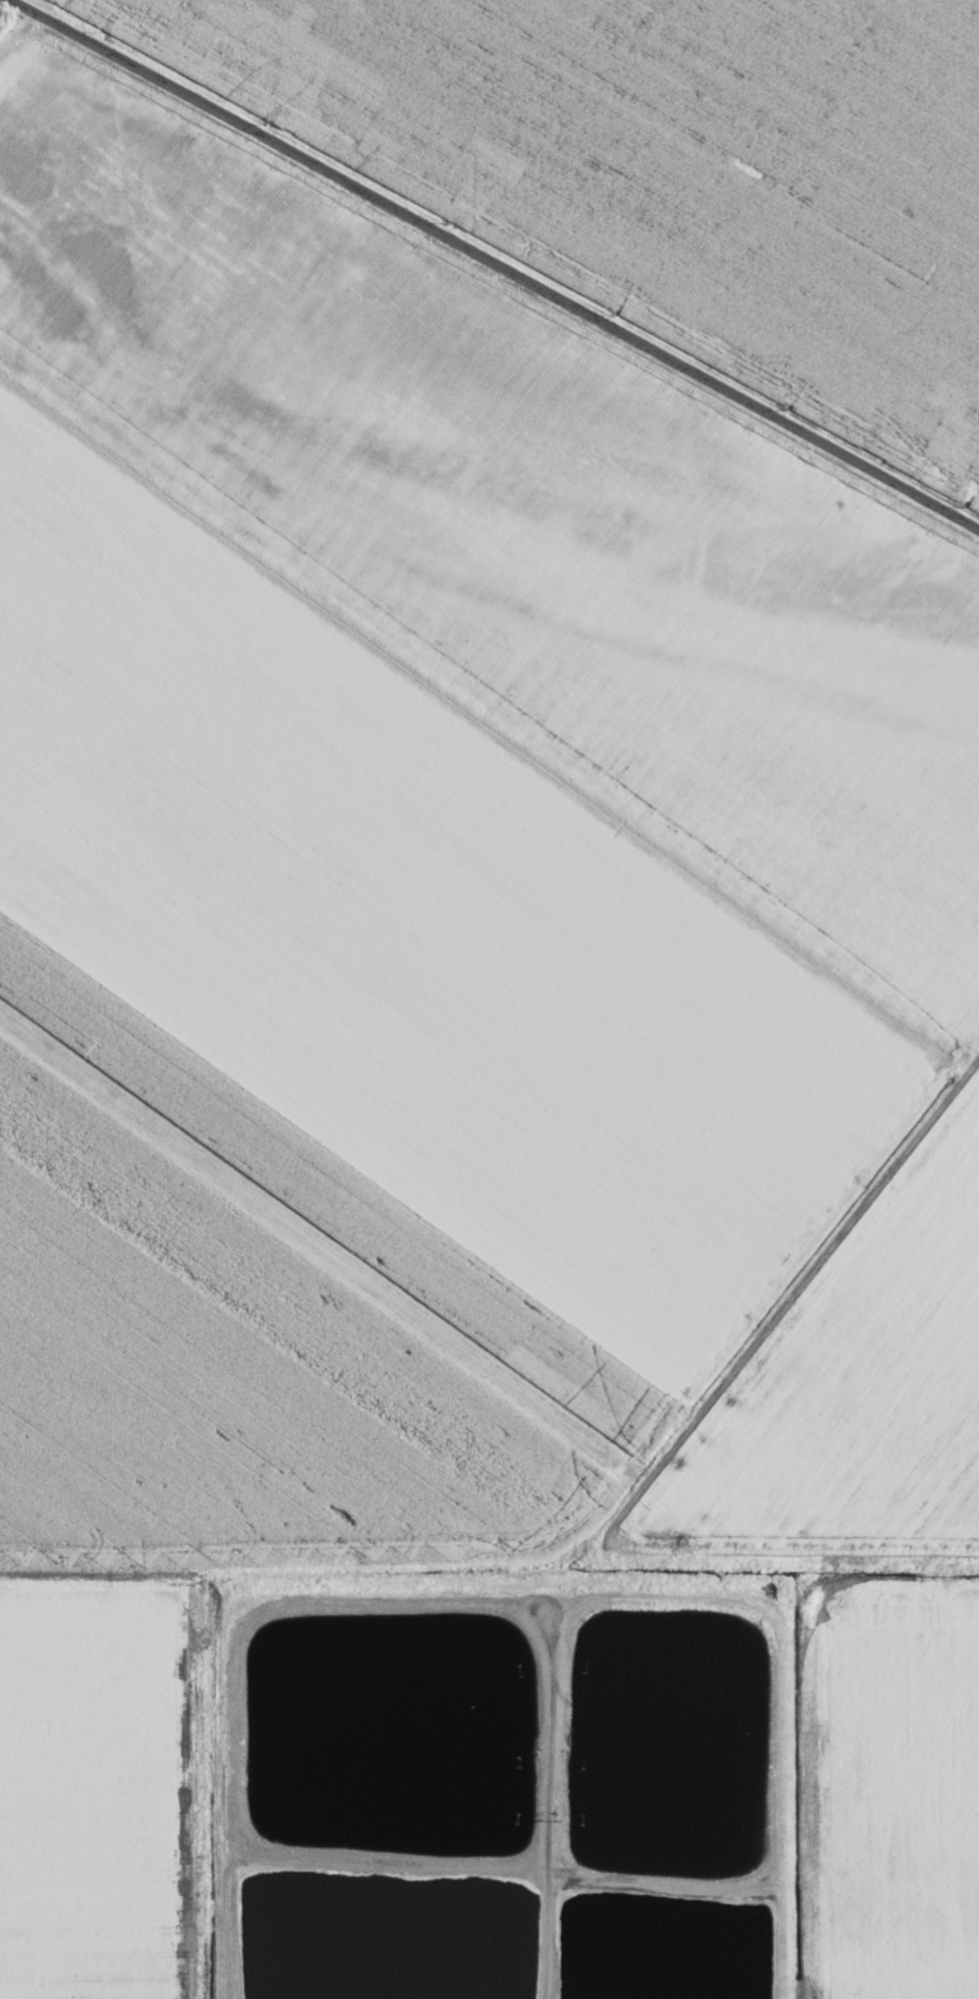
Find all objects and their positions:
road: (13, 30)
road: (490, 264)
airport runway: (322, 1249)
road: (789, 1300)
road: (775, 1560)

